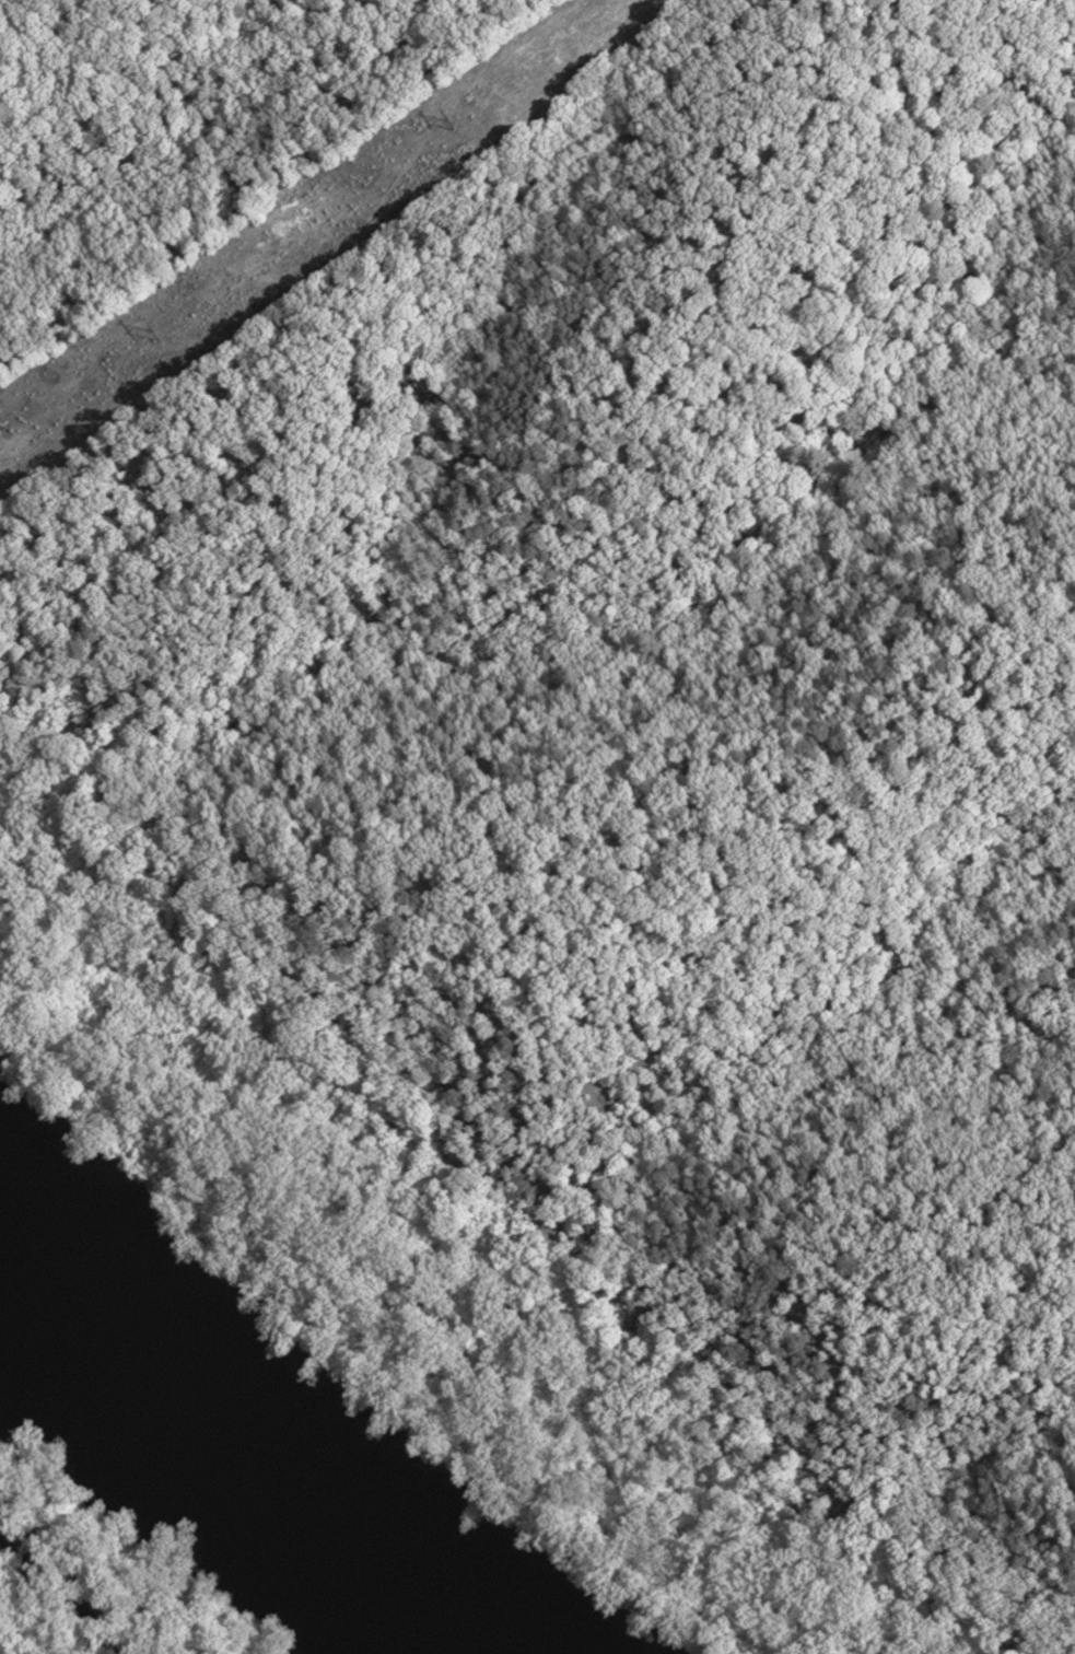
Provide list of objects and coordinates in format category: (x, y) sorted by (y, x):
power tower: (449, 127)
power tower: (155, 334)
river: (244, 1463)

